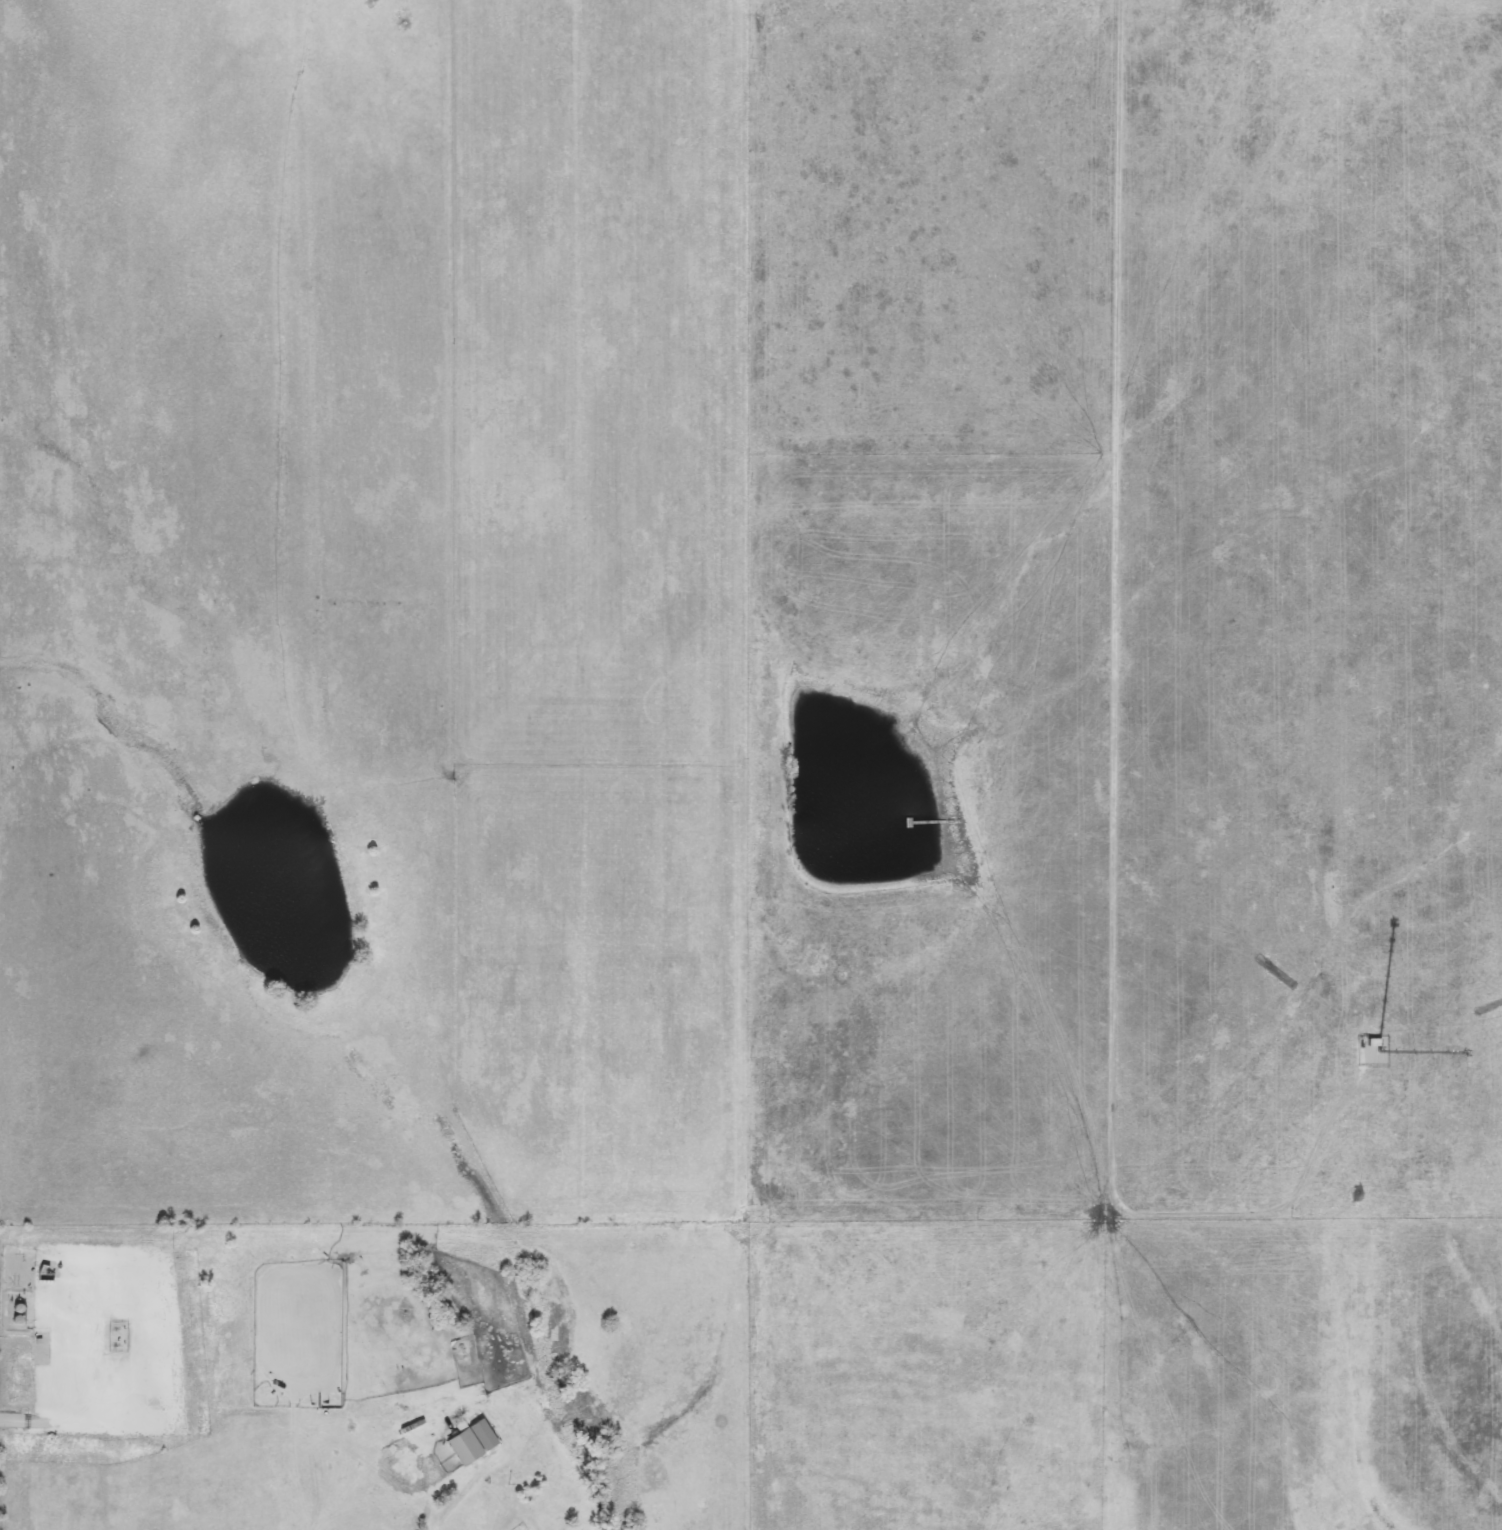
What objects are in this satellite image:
road: (1114, 761)
building: (1375, 1043)
building: (475, 1442)

